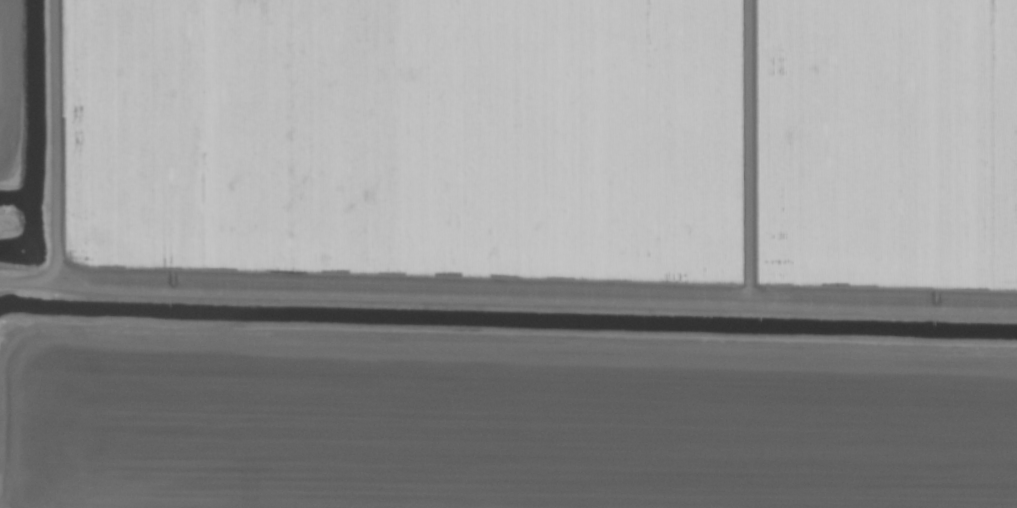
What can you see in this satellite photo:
crop: (508, 254)

